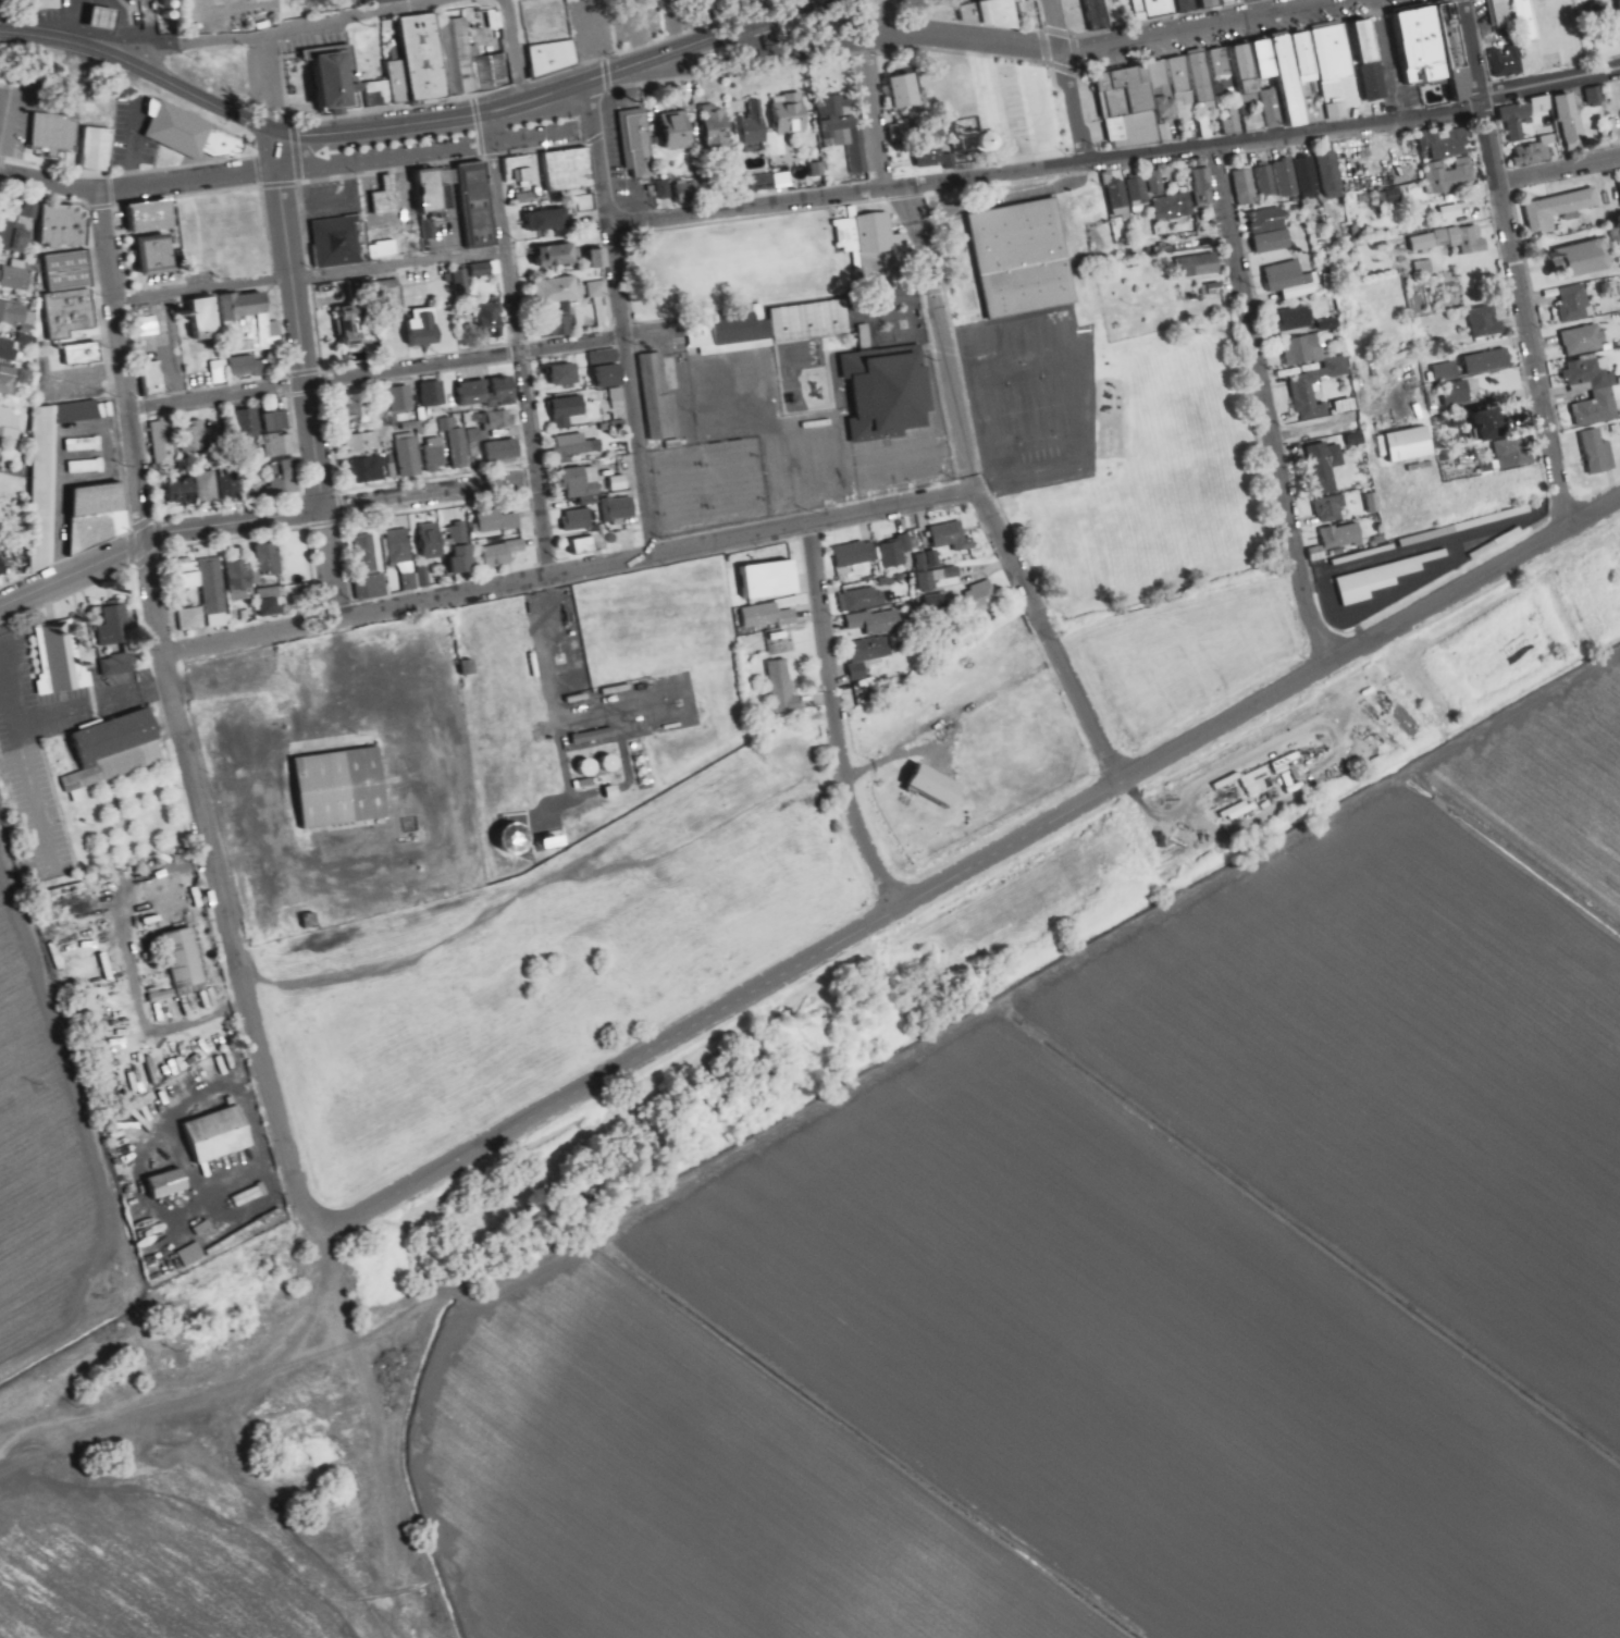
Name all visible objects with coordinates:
building: (1246, 0)
building: (386, 1)
building: (346, 2)
building: (1229, 2)
building: (1212, 3)
building: (49, 4)
building: (166, 5)
building: (1190, 5)
building: (1155, 9)
park: (907, 10)
road: (753, 12)
building: (992, 13)
building: (1502, 13)
building: (107, 14)
parking lot: (1485, 14)
building: (1101, 15)
park: (1050, 16)
road: (1590, 17)
building: (1526, 20)
park: (653, 21)
road: (881, 22)
road: (1056, 27)
road: (1207, 28)
park: (1602, 29)
road: (270, 33)
road: (781, 36)
road: (712, 38)
park: (1557, 40)
building: (1368, 41)
road: (962, 42)
road: (638, 45)
building: (1422, 46)
road: (823, 49)
building: (1456, 51)
road: (514, 52)
building: (1307, 52)
building: (425, 53)
building: (460, 54)
building: (555, 57)
building: (1508, 63)
building: (1267, 65)
road: (690, 66)
road: (1005, 66)
building: (1248, 69)
road: (1393, 69)
road: (139, 70)
building: (494, 71)
road: (1041, 71)
building: (1225, 71)
building: (1338, 71)
parking lot: (1397, 74)
building: (339, 76)
building: (1204, 77)
building: (401, 79)
building: (1290, 81)
building: (1375, 81)
road: (267, 82)
building: (1185, 88)
road: (560, 91)
building: (905, 91)
building: (382, 93)
building: (1597, 97)
building: (1314, 98)
building: (1167, 101)
park: (997, 104)
building: (1544, 106)
building: (1129, 107)
road: (1074, 109)
building: (1275, 109)
parking lot: (1021, 112)
building: (792, 115)
road: (873, 116)
building: (1519, 118)
building: (1572, 121)
building: (1232, 122)
road: (399, 126)
building: (718, 126)
building: (755, 126)
parking lot: (547, 127)
building: (678, 128)
road: (1025, 128)
building: (845, 130)
building: (191, 133)
building: (57, 135)
building: (898, 136)
water tower: (962, 141)
building: (1447, 141)
building: (642, 145)
building: (100, 148)
road: (437, 151)
building: (1535, 152)
building: (935, 153)
parking lot: (626, 158)
road: (1117, 159)
road: (1559, 170)
building: (521, 172)
building: (571, 172)
building: (1333, 174)
building: (1311, 177)
building: (1458, 178)
building: (1289, 180)
building: (1267, 181)
building: (767, 182)
building: (1399, 182)
building: (1154, 183)
building: (1619, 184)
building: (1204, 185)
road: (138, 187)
building: (1247, 188)
building: (431, 189)
building: (661, 189)
building: (689, 192)
building: (1141, 193)
parking lot: (336, 196)
building: (388, 196)
building: (1122, 199)
building: (478, 205)
road: (917, 206)
building: (1176, 209)
building: (28, 210)
building: (1560, 210)
building: (1454, 214)
building: (153, 218)
building: (548, 220)
building: (1269, 222)
building: (66, 226)
building: (876, 232)
building: (16, 237)
building: (844, 237)
building: (348, 239)
building: (1452, 242)
building: (1275, 243)
building: (159, 253)
building: (559, 256)
building: (1023, 258)
building: (598, 259)
building: (1582, 260)
road: (1516, 264)
building: (1199, 267)
building: (481, 269)
building: (1426, 269)
building: (71, 271)
road: (311, 274)
building: (1286, 276)
building: (17, 278)
building: (594, 288)
building: (560, 290)
building: (387, 292)
building: (1213, 292)
building: (1575, 304)
building: (72, 311)
building: (13, 313)
road: (621, 316)
building: (207, 318)
road: (299, 319)
building: (492, 320)
building: (1299, 321)
building: (248, 322)
building: (812, 323)
building: (1486, 323)
building: (556, 325)
building: (150, 327)
building: (353, 327)
building: (743, 328)
building: (424, 331)
building: (1586, 341)
road: (519, 344)
building: (9, 347)
building: (1307, 350)
building: (86, 353)
road: (950, 357)
building: (1488, 362)
building: (249, 366)
road: (124, 367)
building: (217, 371)
building: (608, 371)
building: (1447, 371)
road: (376, 373)
building: (564, 375)
building: (1591, 377)
building: (153, 378)
building: (15, 379)
building: (1318, 391)
building: (487, 392)
building: (888, 392)
building: (1459, 394)
building: (436, 399)
building: (660, 399)
building: (405, 403)
road: (1267, 406)
building: (1345, 406)
building: (351, 408)
building: (1597, 409)
building: (361, 410)
building: (79, 411)
building: (569, 411)
building: (277, 419)
building: (250, 420)
building: (496, 420)
building: (1488, 421)
building: (11, 422)
building: (197, 438)
building: (366, 442)
building: (454, 442)
building: (471, 442)
building: (86, 443)
building: (164, 444)
building: (281, 444)
building: (1410, 445)
building: (572, 447)
building: (504, 453)
building: (1599, 454)
building: (438, 455)
building: (1513, 456)
building: (412, 458)
building: (88, 467)
building: (1326, 467)
building: (371, 469)
building: (281, 479)
building: (617, 483)
building: (579, 484)
building: (230, 485)
building: (46, 488)
building: (184, 491)
road: (431, 494)
building: (1370, 503)
building: (1332, 510)
building: (98, 513)
building: (619, 513)
building: (581, 520)
road: (234, 522)
building: (497, 522)
building: (1468, 528)
building: (953, 539)
building: (1344, 541)
building: (433, 542)
building: (1496, 545)
building: (585, 546)
building: (463, 549)
building: (404, 550)
building: (369, 552)
building: (898, 552)
road: (1399, 553)
building: (506, 555)
building: (1364, 556)
building: (858, 557)
building: (271, 558)
building: (924, 562)
building: (2, 564)
road: (332, 564)
road: (569, 571)
road: (73, 574)
building: (189, 576)
building: (422, 577)
building: (770, 579)
building: (1383, 580)
building: (240, 581)
building: (929, 583)
building: (215, 587)
building: (369, 587)
building: (980, 595)
building: (863, 601)
building: (273, 604)
building: (932, 604)
building: (769, 617)
building: (194, 619)
building: (877, 623)
building: (115, 626)
road: (1050, 636)
building: (869, 656)
road: (343, 657)
building: (62, 661)
park: (1191, 663)
building: (119, 664)
building: (784, 688)
building: (619, 692)
building: (579, 700)
road: (66, 710)
road: (837, 722)
building: (596, 737)
building: (116, 751)
parking lot: (51, 754)
building: (613, 762)
park: (967, 762)
building: (591, 767)
building: (343, 785)
building: (937, 786)
road: (32, 788)
road: (1188, 791)
building: (518, 838)
building: (556, 841)
road: (1158, 845)
road: (667, 862)
road: (312, 863)
road: (974, 867)
road: (222, 887)
road: (121, 908)
park: (994, 926)
park: (561, 959)
building: (185, 961)
road: (893, 996)
road: (999, 1017)
building: (219, 1136)
crop: (47, 1184)
building: (170, 1185)
building: (251, 1197)
crop: (1112, 1204)
building: (206, 1230)
building: (194, 1256)
road: (55, 1340)
road: (319, 1362)
road: (189, 1407)
road: (393, 1430)
crop: (154, 1559)

